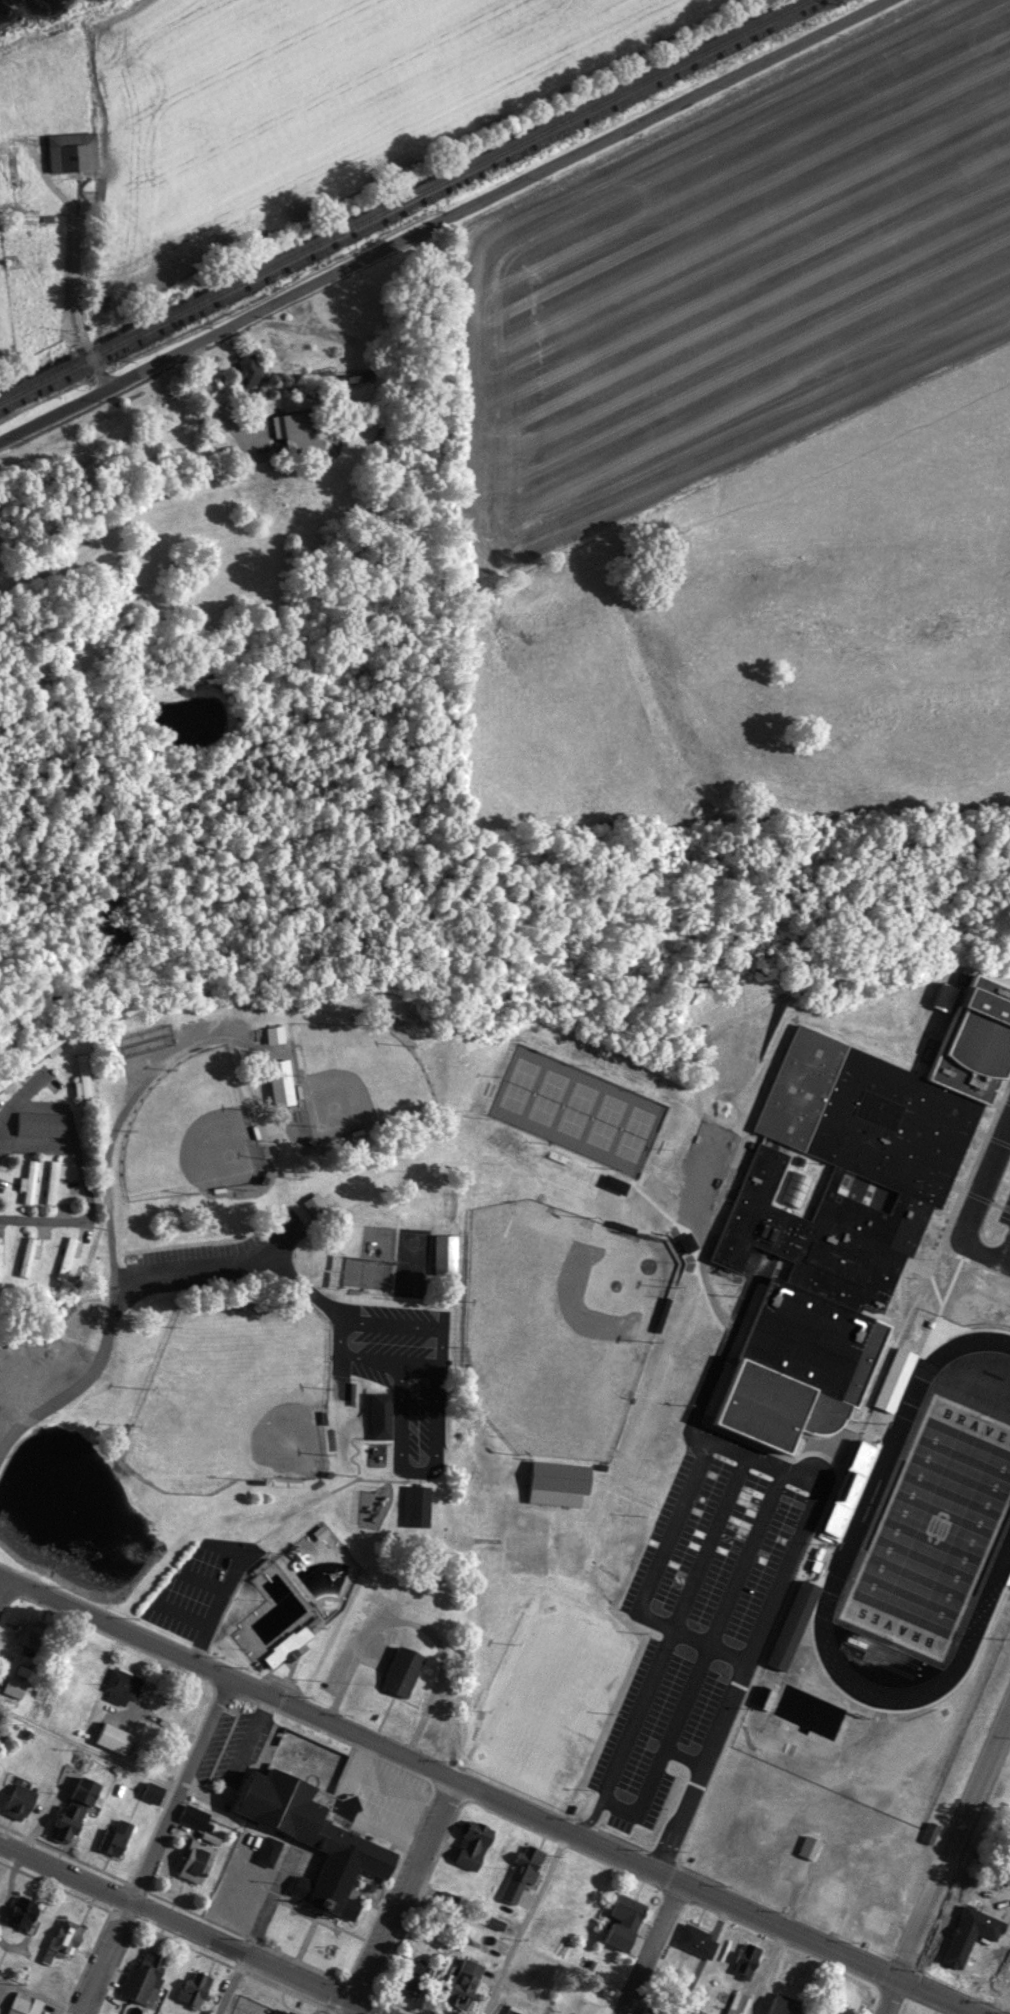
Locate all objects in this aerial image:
building: (73, 151)
railway: (403, 199)
railway: (414, 208)
road: (444, 220)
road: (79, 280)
building: (249, 370)
road: (216, 411)
building: (298, 431)
building: (273, 1032)
building: (47, 1044)
park: (352, 1075)
building: (82, 1076)
building: (5, 1079)
park: (518, 1083)
building: (281, 1085)
park: (547, 1095)
park: (576, 1107)
park: (604, 1120)
building: (39, 1122)
park: (192, 1130)
park: (633, 1132)
building: (52, 1178)
building: (28, 1180)
road: (87, 1189)
parking lot: (985, 1207)
building: (849, 1211)
road: (970, 1211)
road: (106, 1236)
building: (1, 1250)
road: (1004, 1250)
building: (28, 1254)
building: (65, 1255)
building: (445, 1255)
park: (410, 1260)
road: (195, 1272)
park: (556, 1325)
building: (895, 1378)
park: (235, 1394)
building: (381, 1415)
track: (881, 1461)
building: (562, 1476)
building: (847, 1485)
building: (416, 1506)
road: (802, 1527)
park: (933, 1527)
parking lot: (199, 1587)
road: (4, 1588)
building: (275, 1602)
building: (793, 1626)
building: (29, 1634)
road: (197, 1650)
building: (403, 1670)
building: (68, 1674)
building: (121, 1686)
building: (764, 1696)
building: (114, 1737)
road: (87, 1748)
road: (480, 1795)
building: (20, 1801)
building: (77, 1807)
building: (930, 1830)
building: (317, 1834)
building: (115, 1835)
building: (474, 1844)
building: (809, 1845)
road: (151, 1846)
building: (269, 1850)
building: (770, 1850)
building: (199, 1855)
road: (946, 1858)
building: (858, 1867)
building: (517, 1879)
building: (241, 1889)
building: (836, 1889)
road: (400, 1898)
building: (448, 1898)
building: (24, 1912)
building: (882, 1916)
building: (625, 1920)
road: (523, 1924)
road: (186, 1929)
building: (64, 1938)
building: (696, 1940)
building: (959, 1946)
road: (652, 1950)
building: (748, 1957)
road: (767, 1974)
building: (144, 1976)
building: (416, 1976)
building: (535, 1977)
building: (465, 1982)
road: (229, 1985)
building: (194, 1986)
road: (40, 1995)
building: (736, 2003)
building: (24, 2004)
building: (784, 2005)
building: (512, 2010)
building: (653, 2010)
building: (277, 2011)
building: (552, 2013)

